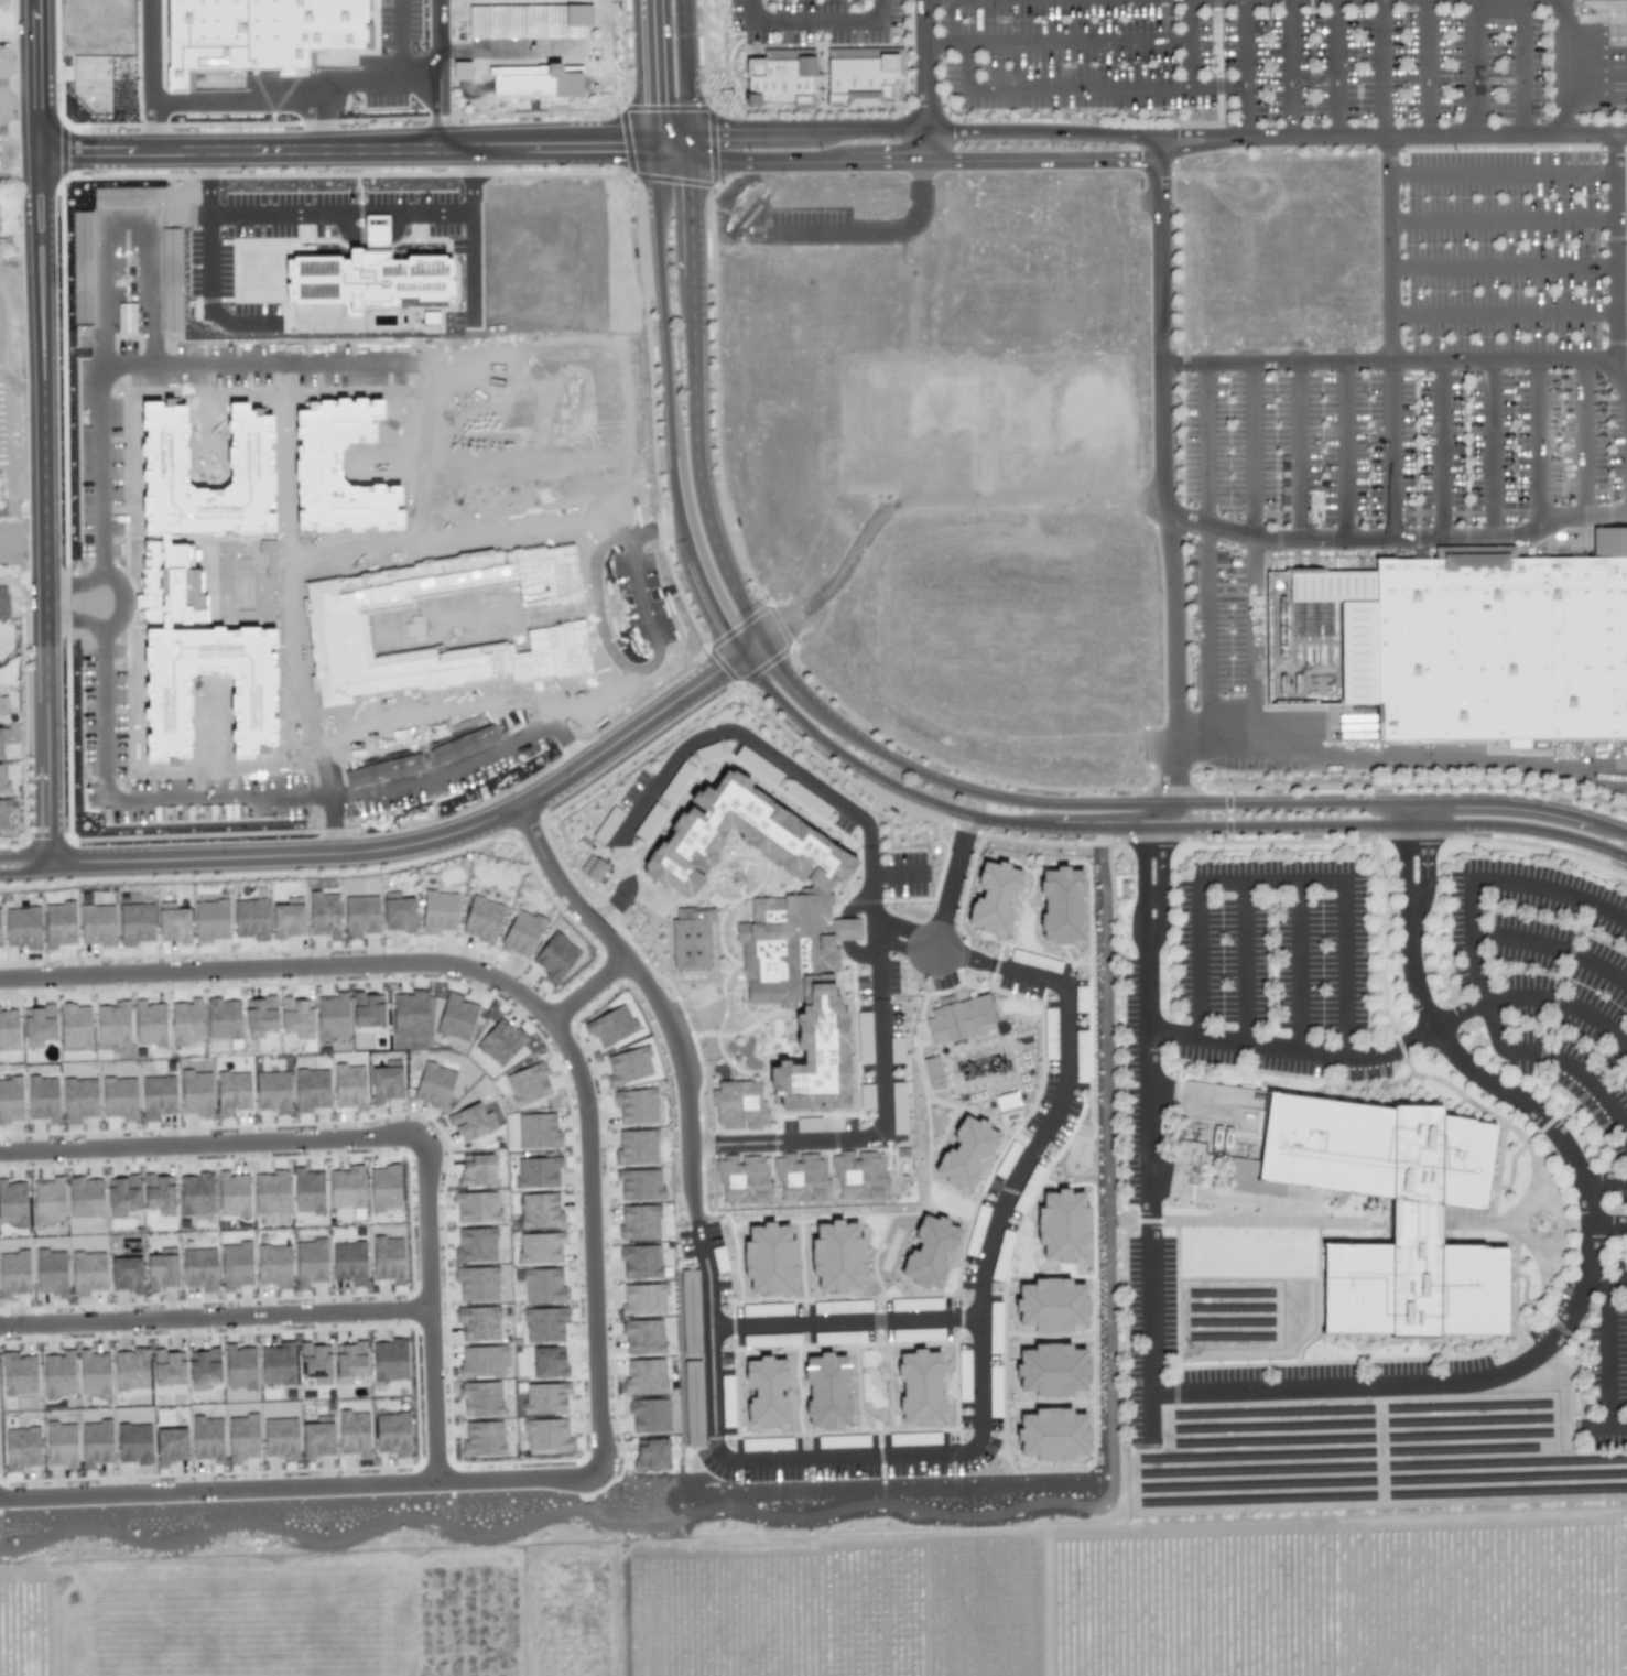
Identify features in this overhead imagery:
road: (751, 11)
road: (882, 11)
road: (817, 22)
building: (262, 34)
road: (1054, 39)
road: (441, 41)
road: (1187, 42)
road: (400, 43)
road: (965, 63)
road: (1521, 65)
road: (1563, 65)
road: (1473, 66)
road: (1335, 67)
road: (1381, 67)
road: (1425, 67)
road: (1246, 68)
road: (1288, 68)
road: (152, 71)
building: (535, 76)
building: (859, 76)
building: (780, 77)
road: (921, 80)
building: (93, 84)
building: (216, 86)
road: (380, 86)
road: (1106, 86)
road: (234, 94)
road: (911, 128)
road: (1395, 134)
road: (347, 139)
road: (346, 158)
road: (912, 161)
road: (1500, 171)
building: (122, 196)
road: (337, 214)
road: (1500, 219)
road: (205, 233)
road: (469, 234)
building: (1625, 237)
road: (1388, 247)
road: (1613, 248)
building: (82, 267)
road: (1500, 267)
building: (366, 274)
building: (170, 279)
road: (37, 312)
road: (1499, 314)
road: (1400, 359)
road: (96, 409)
road: (1586, 437)
road: (1539, 444)
road: (1493, 447)
road: (1441, 450)
road: (1298, 451)
road: (1342, 452)
road: (1393, 452)
building: (338, 469)
road: (1163, 475)
building: (0, 500)
road: (1395, 543)
road: (1205, 549)
road: (1255, 549)
building: (551, 575)
building: (182, 587)
building: (3, 602)
road: (110, 607)
building: (337, 631)
building: (1500, 648)
building: (556, 650)
building: (0, 711)
road: (634, 726)
road: (855, 737)
building: (1517, 744)
road: (44, 745)
building: (0, 747)
road: (838, 753)
road: (1400, 758)
building: (3, 781)
road: (264, 803)
building: (3, 814)
road: (1096, 817)
building: (607, 824)
road: (327, 829)
road: (257, 858)
road: (870, 858)
road: (1404, 865)
road: (1425, 867)
building: (592, 868)
road: (1270, 880)
road: (1143, 885)
road: (1161, 886)
road: (1552, 886)
building: (994, 897)
building: (1061, 906)
building: (438, 911)
building: (397, 912)
building: (323, 913)
road: (942, 913)
building: (360, 915)
building: (288, 917)
building: (250, 918)
building: (481, 919)
building: (210, 920)
building: (173, 921)
building: (58, 923)
building: (135, 923)
building: (774, 923)
building: (97, 924)
building: (22, 928)
building: (521, 932)
building: (692, 938)
building: (0, 939)
road: (1550, 947)
building: (554, 956)
road: (1195, 959)
road: (1245, 962)
road: (1299, 965)
road: (1346, 966)
road: (417, 969)
building: (367, 1012)
building: (408, 1012)
building: (332, 1016)
building: (295, 1017)
building: (455, 1017)
building: (223, 1018)
building: (259, 1018)
building: (957, 1018)
building: (185, 1021)
building: (112, 1023)
building: (149, 1023)
building: (37, 1025)
building: (610, 1025)
building: (75, 1026)
building: (8, 1028)
road: (1498, 1039)
building: (499, 1041)
road: (1399, 1046)
building: (896, 1049)
road: (1608, 1059)
building: (628, 1064)
building: (933, 1072)
building: (386, 1080)
building: (536, 1080)
road: (685, 1080)
building: (433, 1084)
building: (348, 1086)
building: (311, 1089)
building: (232, 1091)
building: (272, 1091)
building: (195, 1092)
building: (158, 1095)
building: (42, 1097)
building: (119, 1097)
building: (79, 1099)
building: (10, 1100)
building: (1006, 1101)
building: (737, 1104)
building: (634, 1105)
building: (898, 1107)
building: (468, 1122)
building: (806, 1124)
building: (536, 1129)
road: (380, 1137)
building: (636, 1147)
building: (965, 1153)
building: (901, 1160)
building: (476, 1169)
building: (536, 1172)
building: (859, 1175)
building: (803, 1178)
building: (745, 1180)
road: (1604, 1182)
building: (639, 1183)
building: (346, 1187)
building: (383, 1187)
building: (308, 1190)
building: (270, 1191)
building: (195, 1193)
building: (159, 1194)
building: (234, 1194)
road: (1147, 1194)
building: (122, 1196)
building: (85, 1197)
building: (47, 1200)
building: (12, 1202)
building: (476, 1205)
building: (542, 1210)
building: (639, 1221)
road: (1607, 1224)
building: (1062, 1225)
building: (1412, 1228)
building: (475, 1244)
building: (539, 1247)
building: (929, 1252)
building: (836, 1256)
building: (387, 1258)
building: (769, 1258)
building: (310, 1261)
building: (640, 1261)
building: (348, 1262)
building: (273, 1264)
building: (236, 1265)
building: (162, 1267)
building: (198, 1268)
building: (51, 1272)
building: (87, 1272)
building: (13, 1273)
building: (126, 1273)
building: (476, 1283)
road: (1605, 1284)
road: (1579, 1297)
building: (643, 1299)
building: (1050, 1305)
building: (690, 1311)
road: (216, 1317)
road: (844, 1322)
building: (544, 1323)
building: (643, 1337)
road: (1608, 1354)
building: (388, 1359)
building: (481, 1361)
building: (349, 1362)
building: (544, 1362)
building: (276, 1363)
building: (314, 1363)
building: (239, 1366)
building: (166, 1367)
building: (204, 1367)
building: (130, 1369)
building: (1051, 1370)
building: (94, 1372)
building: (57, 1373)
building: (18, 1374)
building: (643, 1376)
building: (920, 1387)
building: (766, 1392)
building: (826, 1392)
building: (545, 1397)
building: (480, 1398)
building: (693, 1403)
building: (649, 1415)
road: (979, 1420)
road: (1603, 1425)
building: (352, 1432)
building: (391, 1434)
building: (546, 1434)
building: (1051, 1434)
building: (316, 1435)
building: (280, 1436)
building: (206, 1437)
building: (242, 1437)
building: (482, 1438)
building: (95, 1442)
building: (61, 1443)
building: (133, 1443)
building: (170, 1443)
building: (22, 1447)
building: (651, 1453)
road: (530, 1481)

